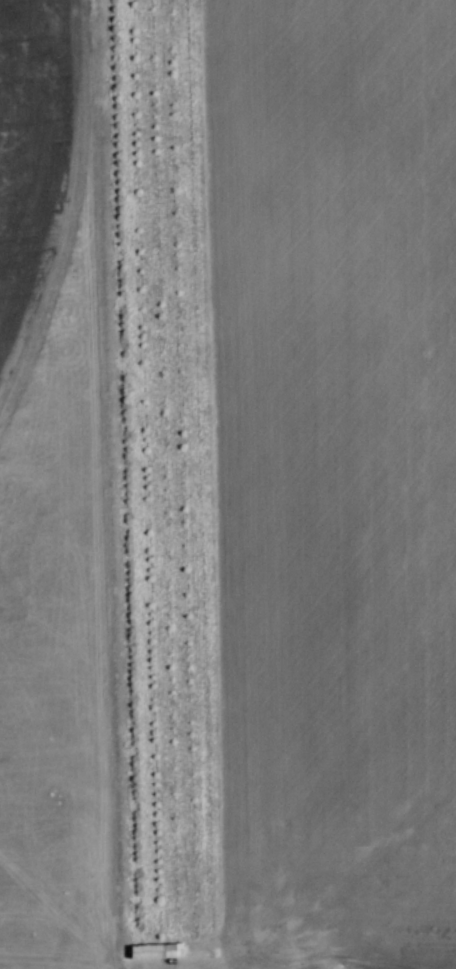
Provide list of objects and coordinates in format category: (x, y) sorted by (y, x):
crop: (331, 482)
crop: (51, 497)

